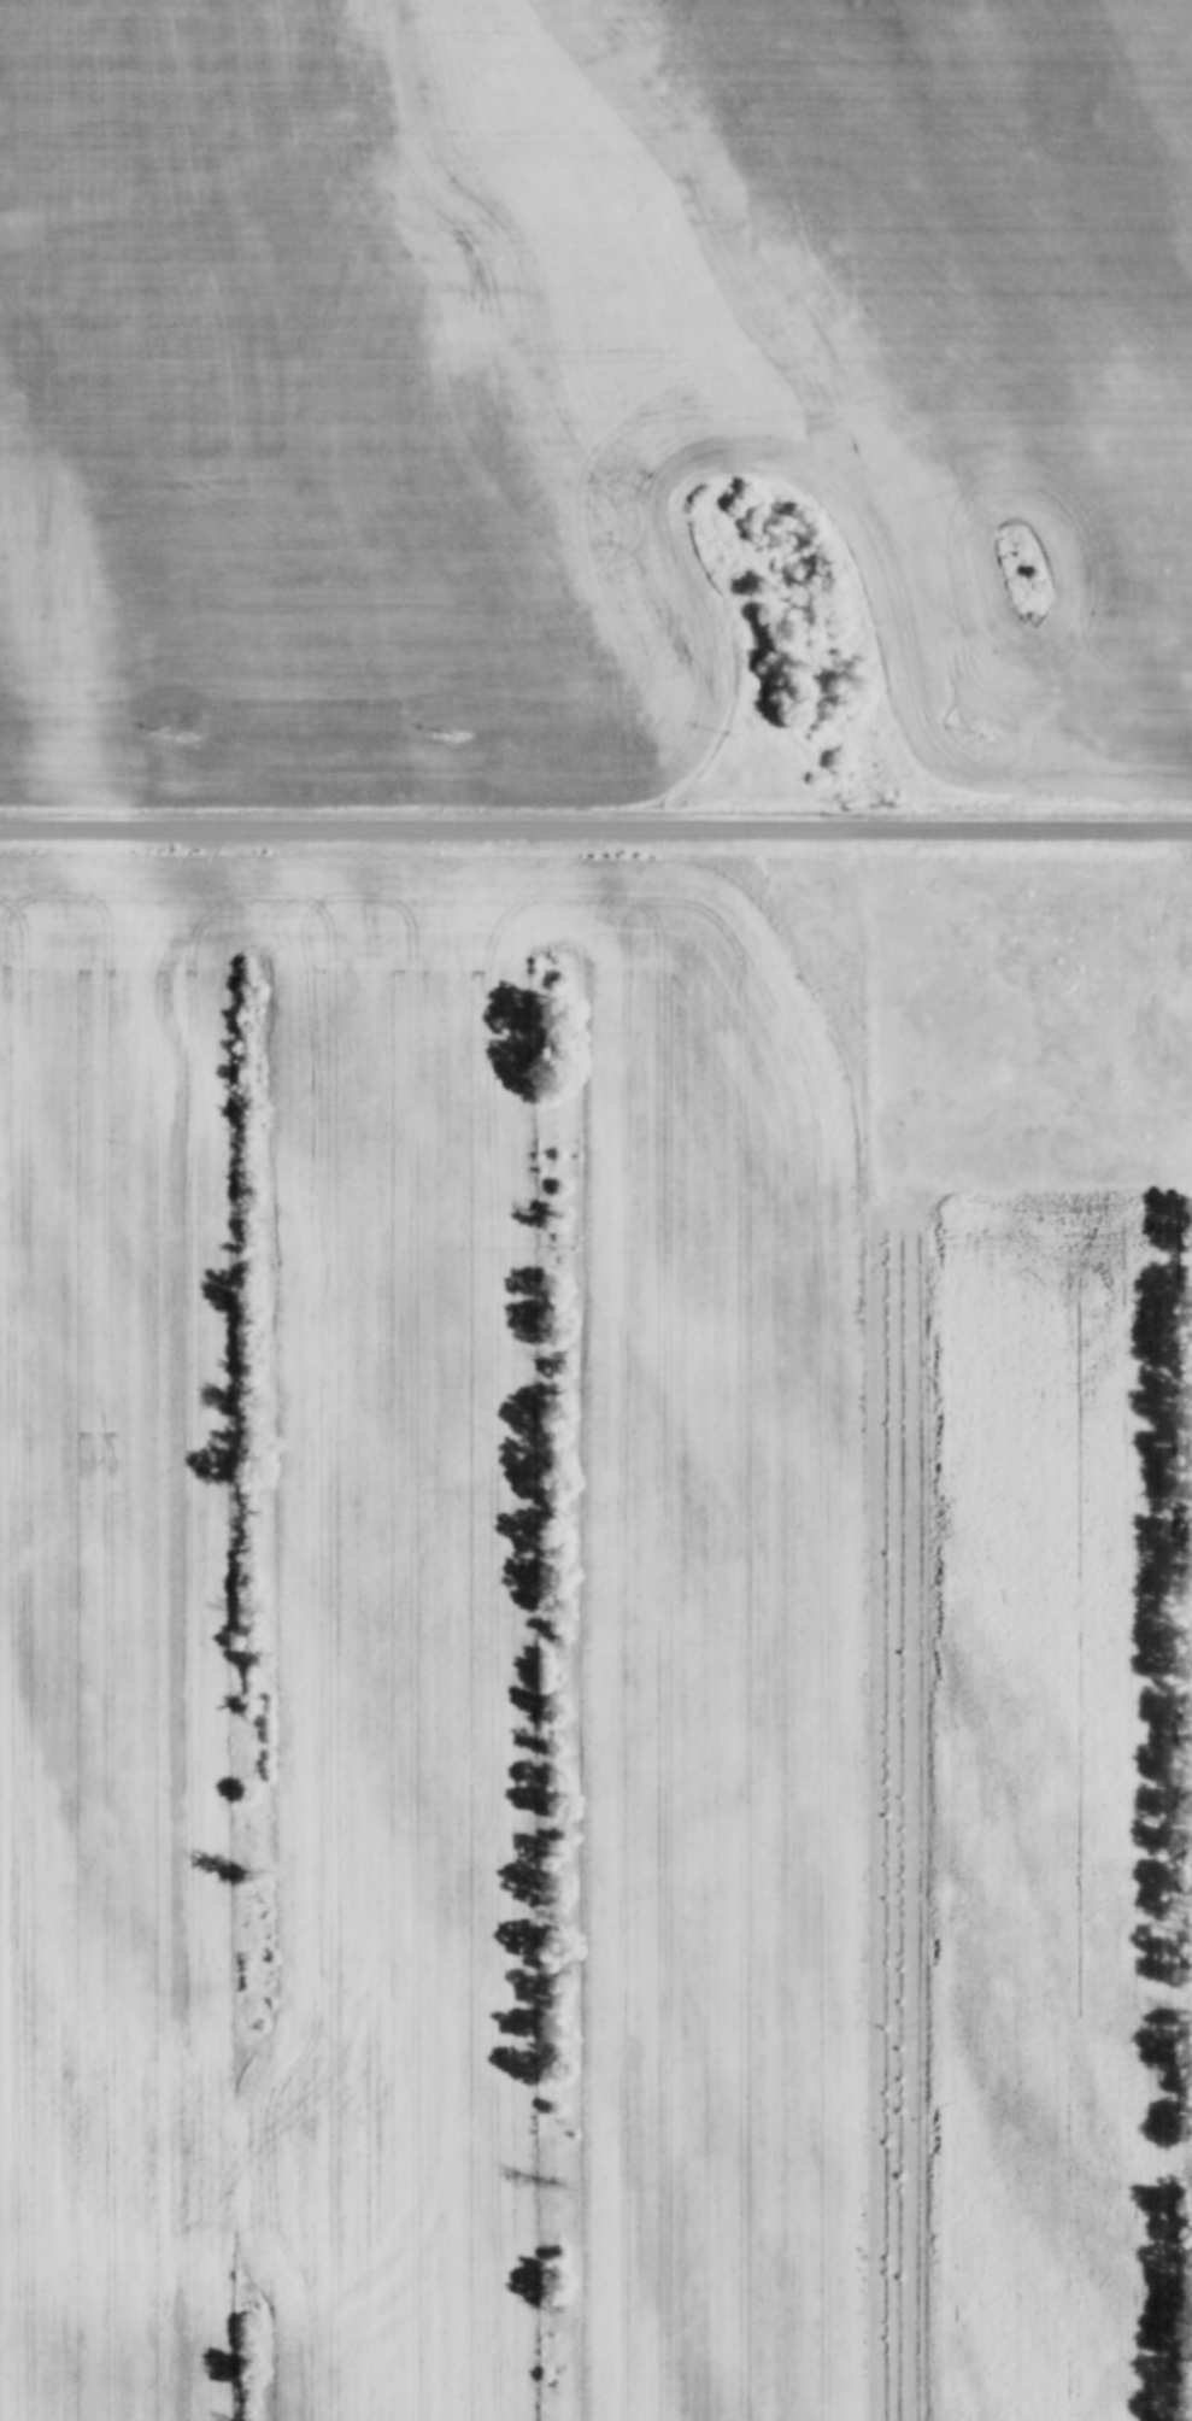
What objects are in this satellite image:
road: (595, 832)

